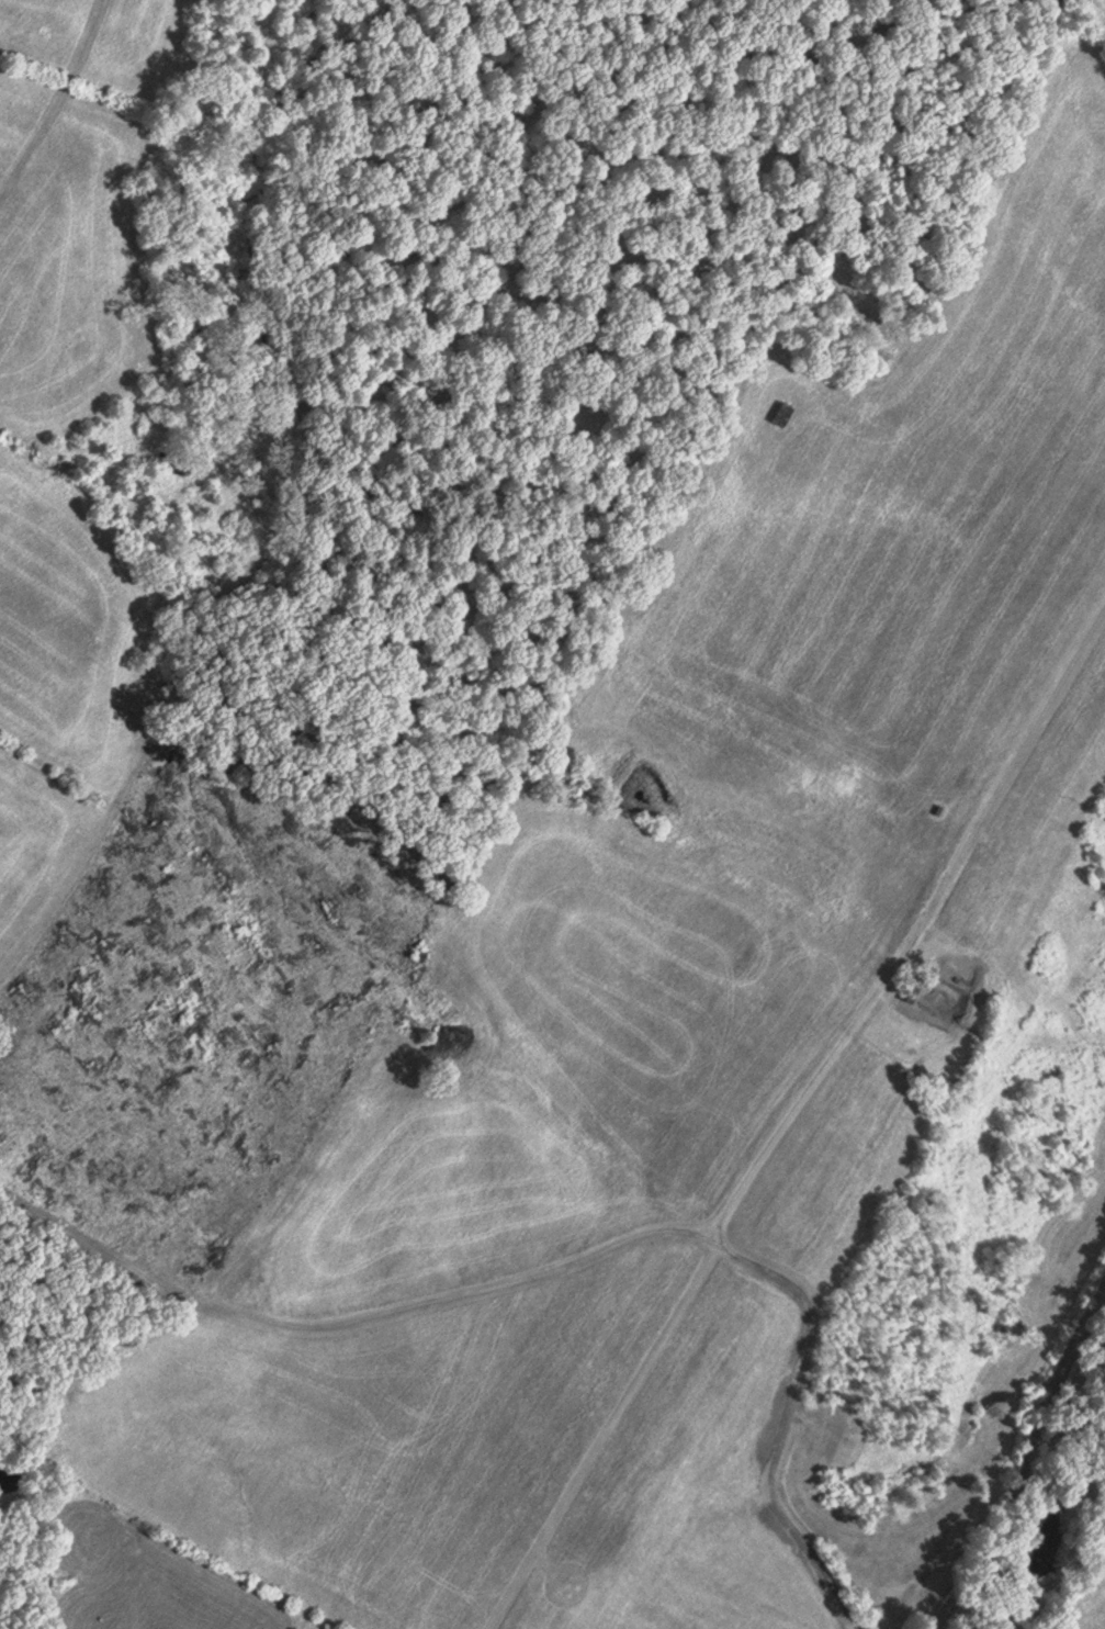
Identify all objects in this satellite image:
building: (937, 810)
building: (915, 995)
road: (722, 1224)
road: (1030, 1464)

